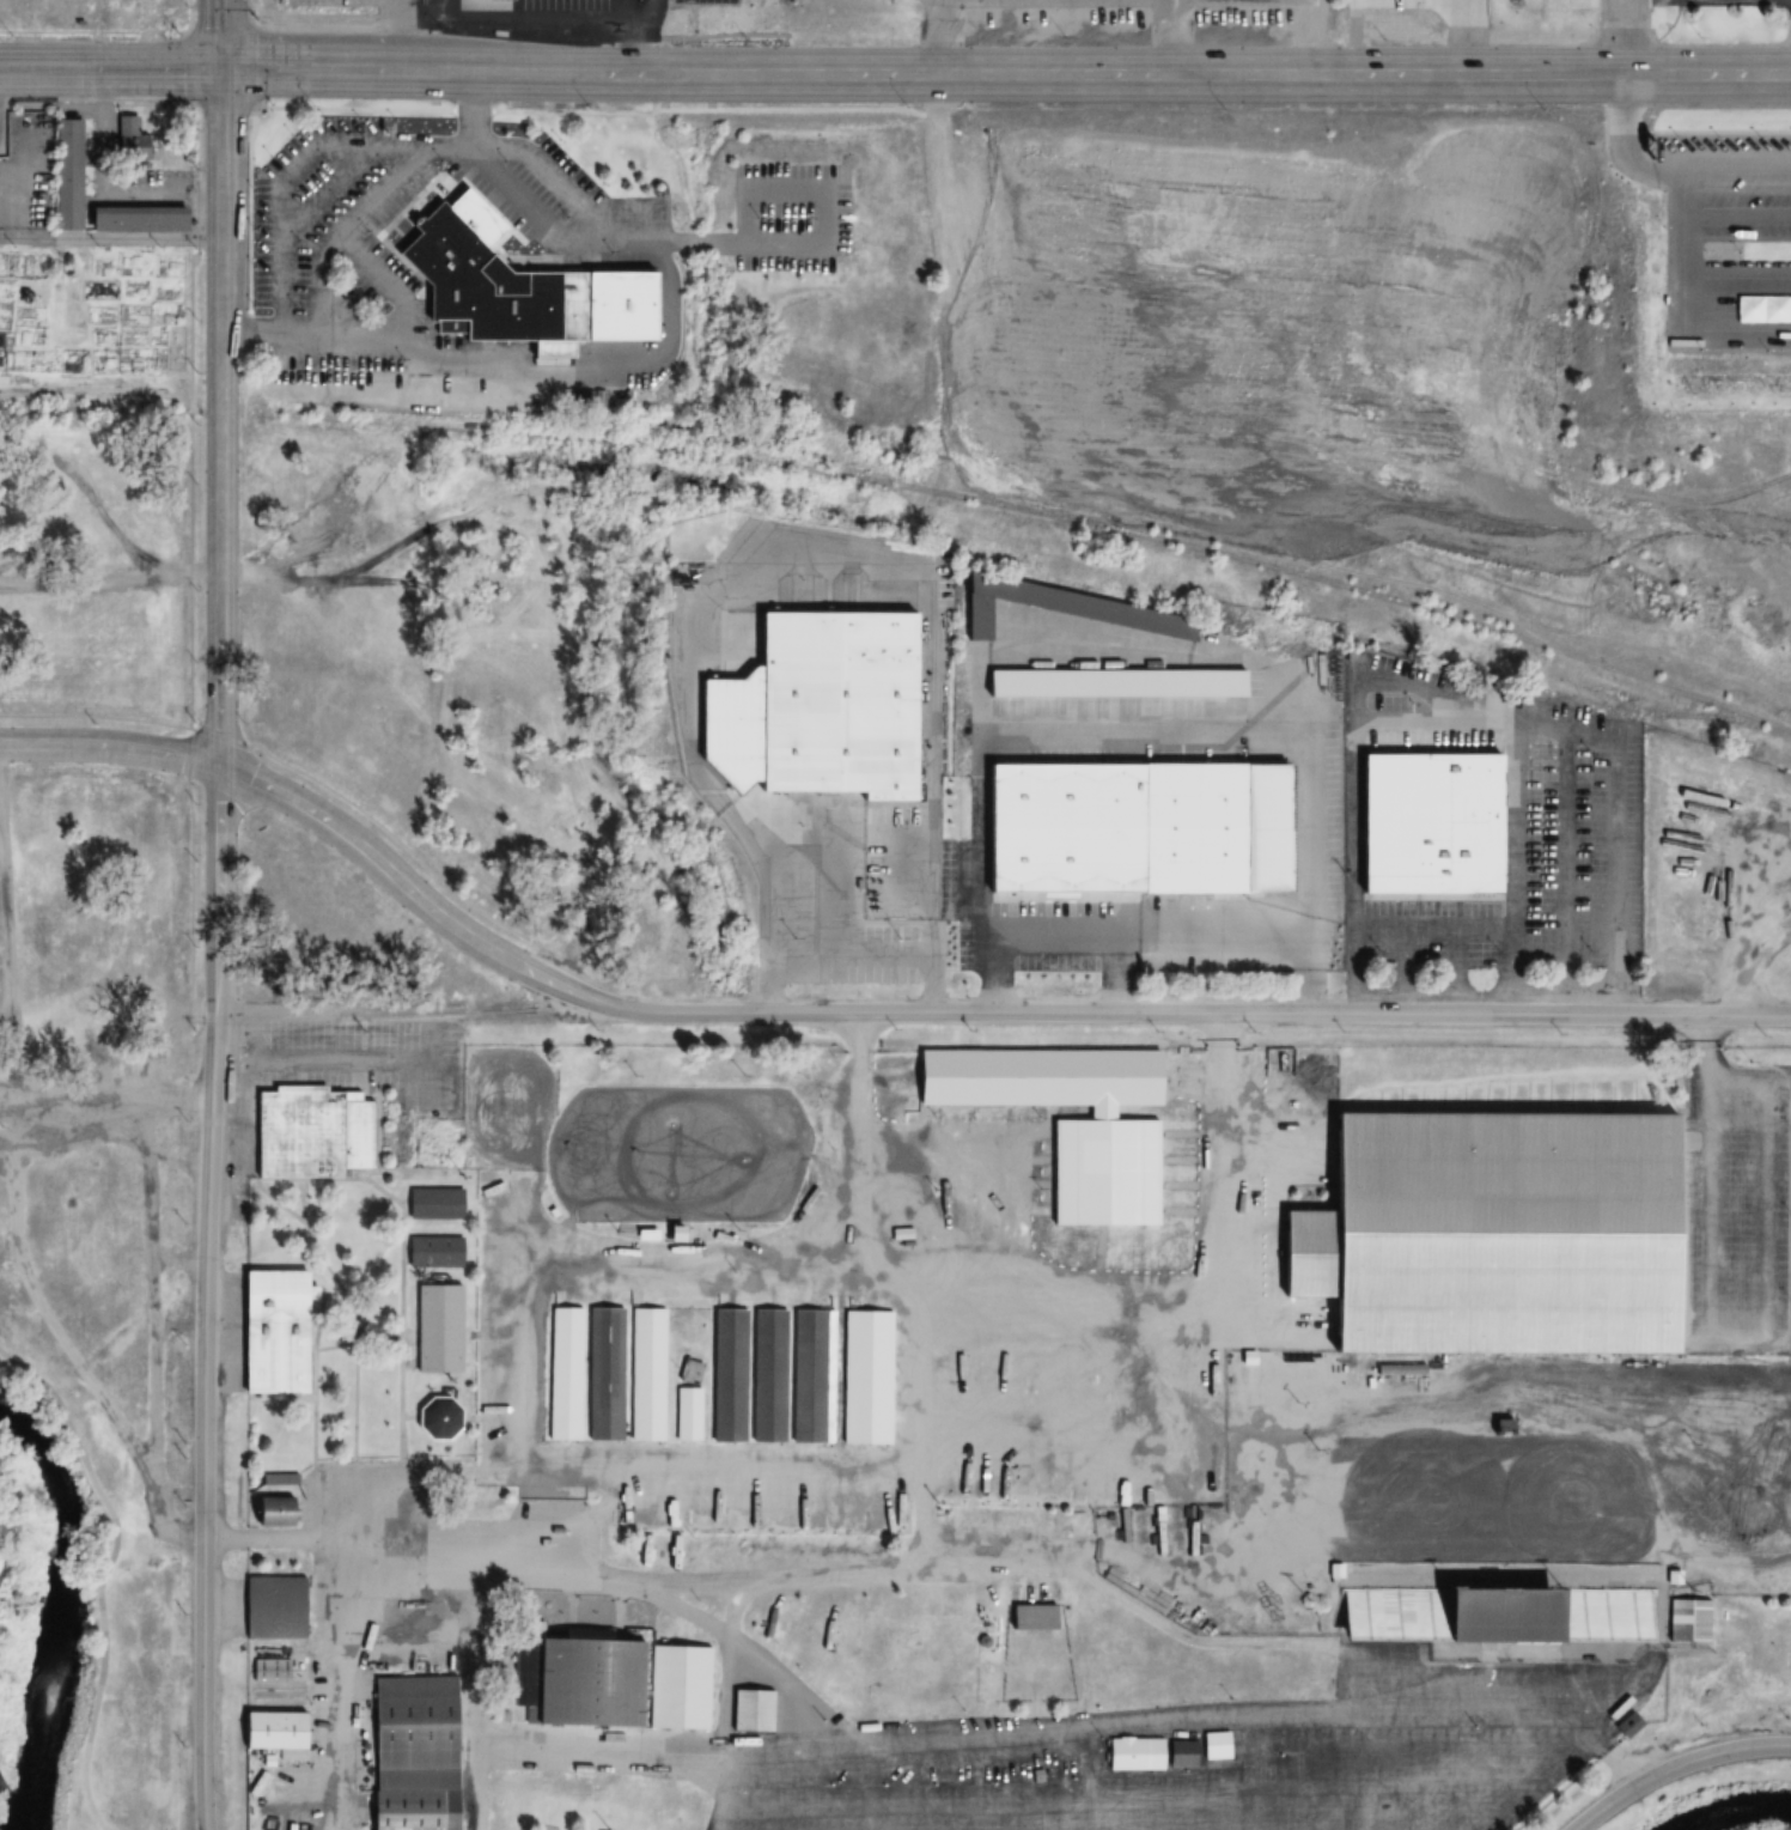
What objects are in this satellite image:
road: (223, 35)
road: (1624, 37)
road: (111, 71)
traffic signals: (224, 71)
road: (304, 71)
road: (1088, 74)
building: (128, 139)
road: (223, 156)
building: (66, 174)
building: (133, 218)
road: (111, 241)
building: (495, 284)
road: (223, 288)
crop: (91, 314)
railway: (912, 484)
road: (191, 493)
road: (221, 549)
building: (1055, 608)
building: (1113, 683)
building: (816, 700)
road: (98, 717)
road: (223, 738)
road: (111, 747)
road: (189, 753)
building: (1425, 802)
building: (1210, 828)
road: (392, 835)
road: (190, 887)
road: (969, 1013)
building: (1038, 1076)
building: (310, 1133)
park: (676, 1155)
building: (434, 1204)
parking lot: (1741, 1209)
building: (1486, 1234)
building: (437, 1252)
road: (213, 1297)
building: (438, 1330)
building: (270, 1332)
building: (981, 1369)
building: (564, 1374)
building: (604, 1374)
building: (646, 1375)
building: (800, 1378)
building: (687, 1415)
building: (440, 1418)
building: (272, 1512)
road: (104, 1577)
building: (273, 1609)
building: (1504, 1612)
building: (1030, 1618)
building: (1686, 1621)
river: (63, 1628)
building: (970, 1664)
building: (269, 1671)
building: (611, 1684)
building: (750, 1712)
building: (1627, 1725)
building: (269, 1729)
building: (1214, 1746)
building: (412, 1753)
building: (1150, 1755)
road: (1677, 1762)
river: (1744, 1814)

